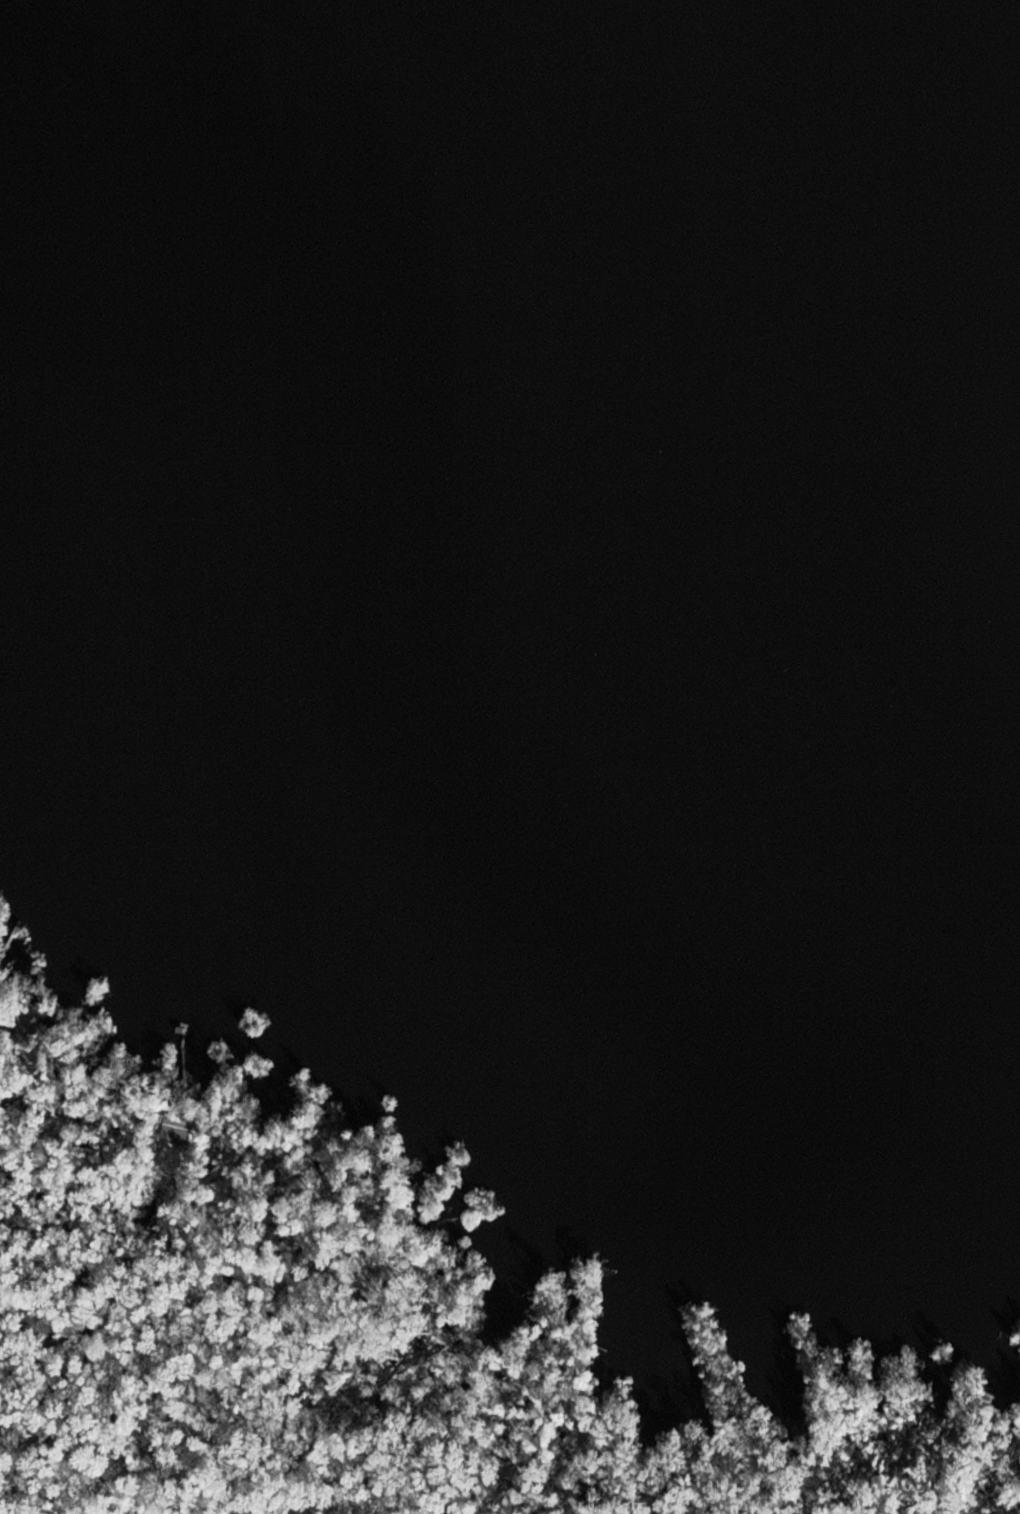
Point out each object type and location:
building: (174, 1129)

